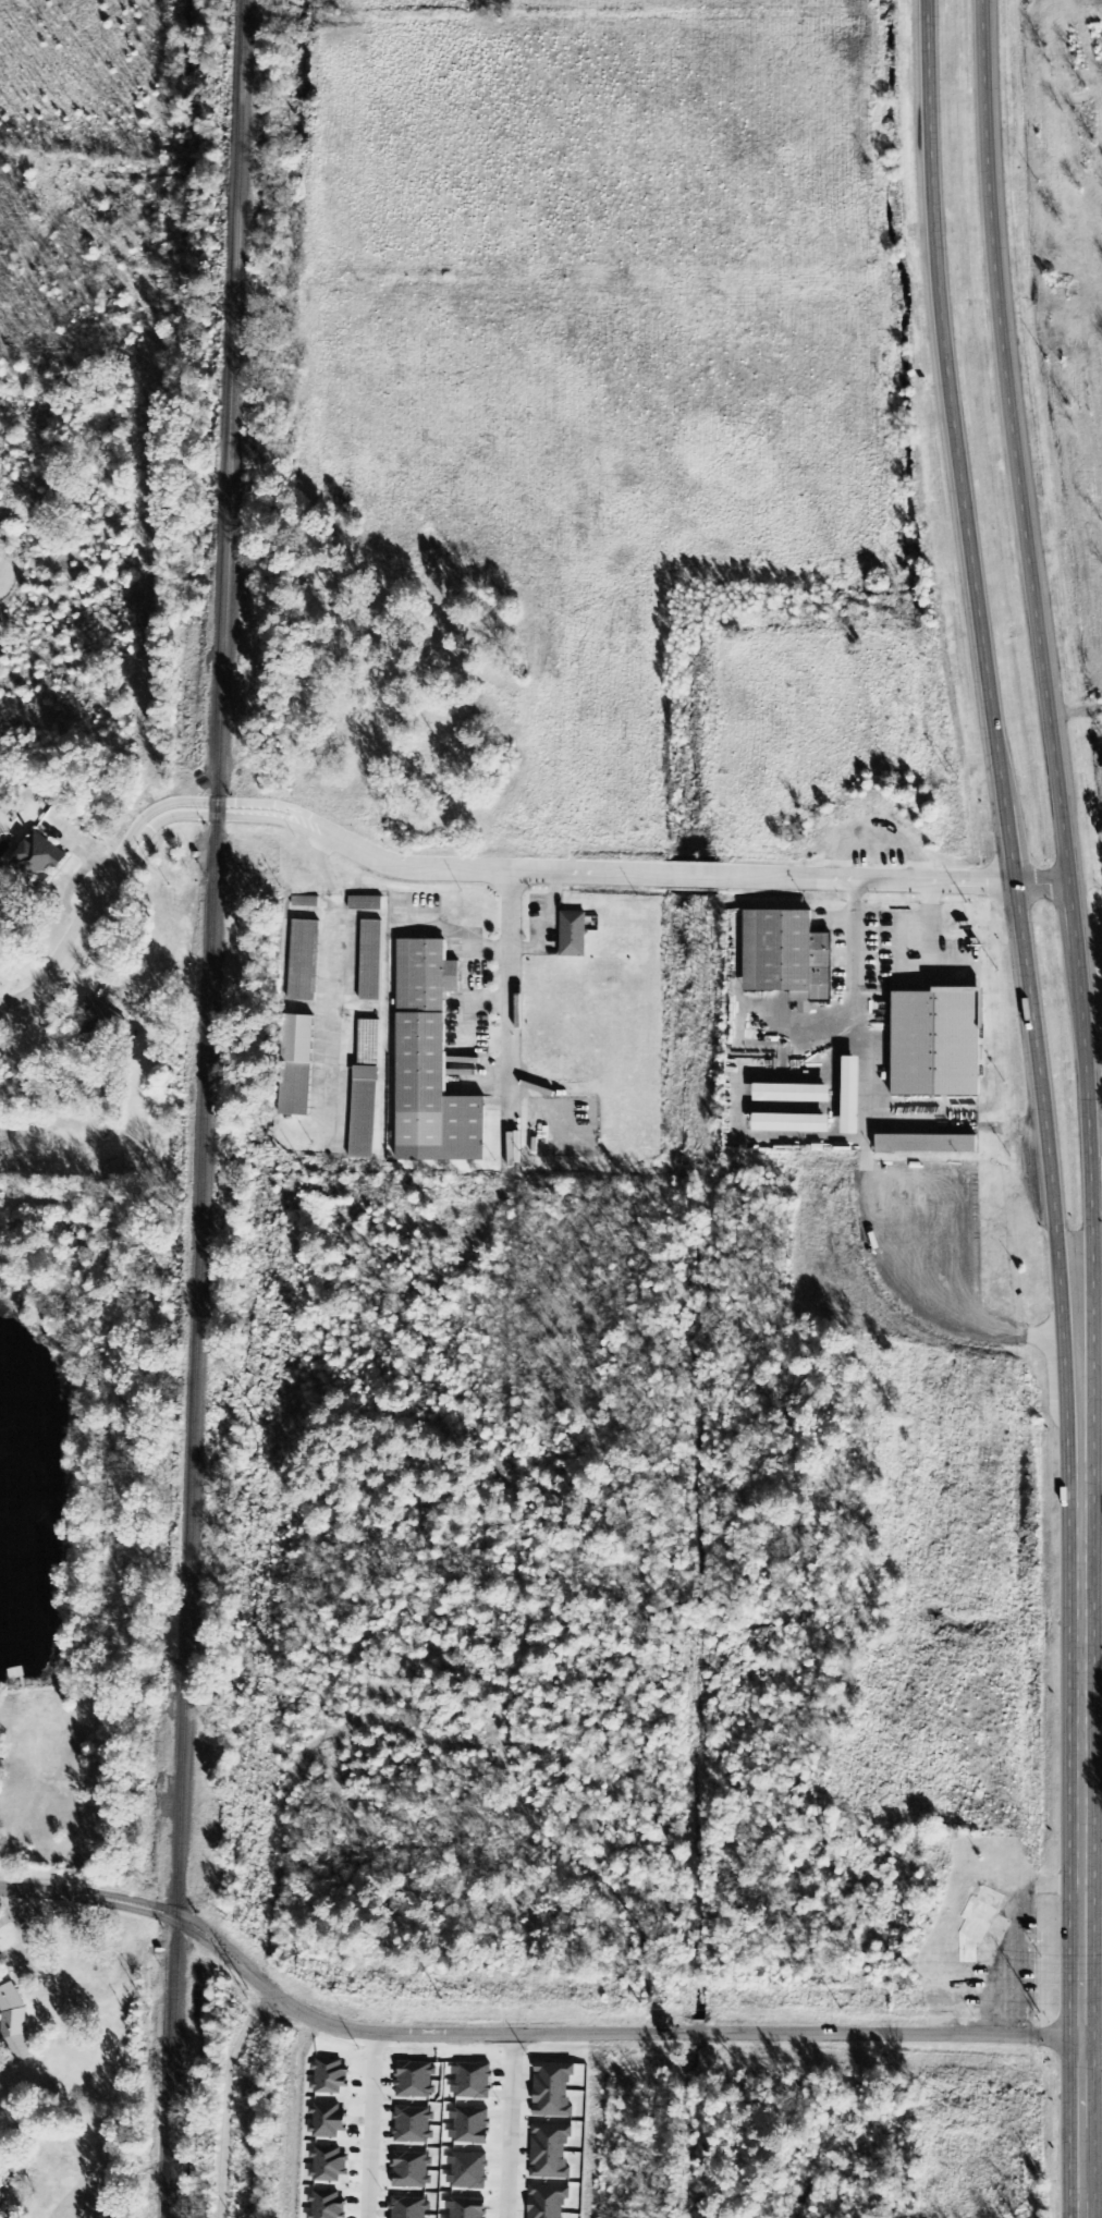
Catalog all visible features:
road: (1052, 734)
road: (994, 736)
road: (217, 802)
road: (220, 816)
building: (38, 860)
road: (686, 875)
building: (366, 904)
building: (574, 934)
road: (77, 937)
building: (787, 956)
building: (304, 961)
building: (371, 961)
road: (511, 1022)
building: (97, 1023)
building: (938, 1041)
building: (430, 1062)
building: (296, 1065)
building: (793, 1093)
building: (852, 1095)
railway: (208, 1109)
building: (364, 1112)
building: (793, 1123)
building: (927, 1144)
road: (1083, 1515)
road: (1081, 1797)
road: (57, 1893)
road: (192, 1920)
road: (187, 1927)
power tower: (248, 1995)
power tower: (442, 1999)
power tower: (641, 2002)
road: (657, 2033)
road: (1091, 2037)
building: (473, 2081)
building: (553, 2091)
road: (372, 2125)
building: (470, 2125)
road: (512, 2126)
road: (1080, 2128)
road: (1091, 2149)
building: (551, 2152)
building: (469, 2171)
road: (1091, 2190)
building: (0, 2192)
building: (548, 2201)
building: (468, 2208)

